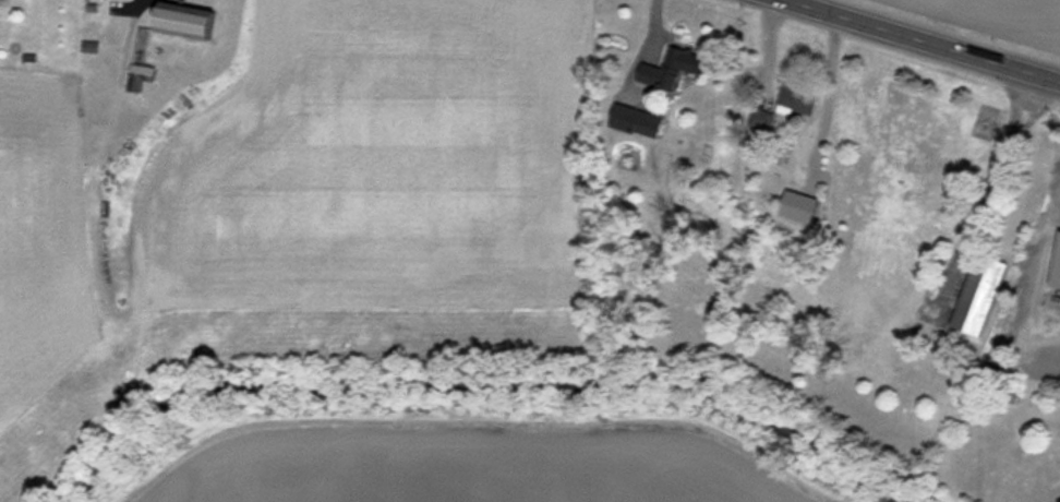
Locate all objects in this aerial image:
building: (196, 22)
road: (916, 41)
building: (676, 68)
building: (145, 76)
building: (800, 95)
building: (640, 120)
building: (803, 204)
building: (984, 294)

